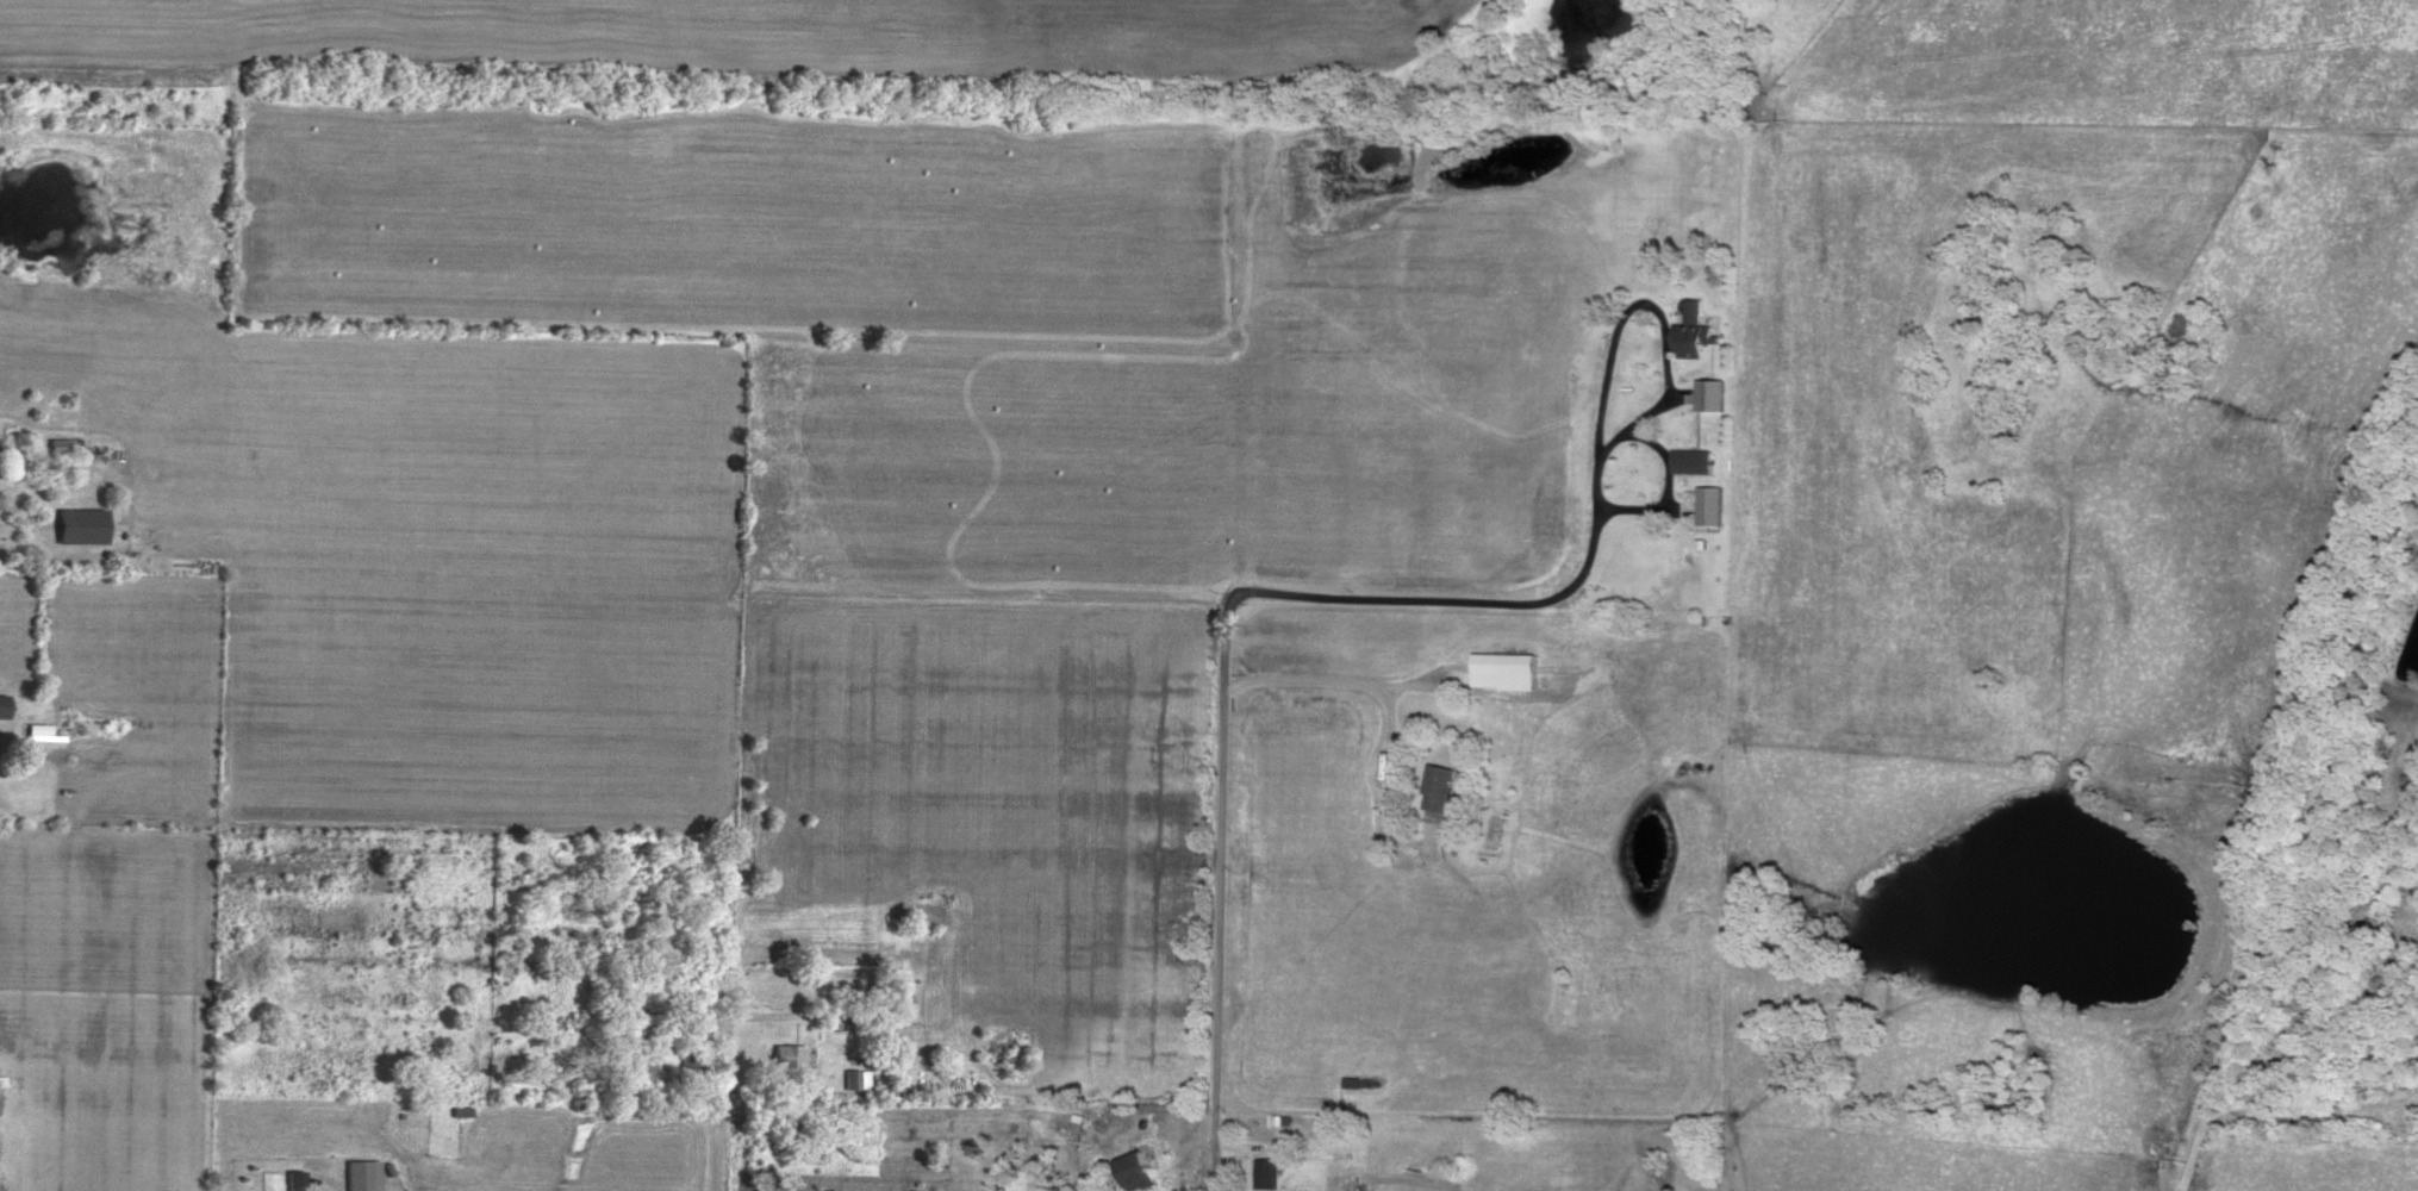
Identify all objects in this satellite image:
road: (1656, 307)
building: (1695, 329)
building: (1714, 393)
building: (62, 443)
building: (1695, 459)
building: (1712, 504)
building: (82, 523)
road: (1224, 655)
building: (1507, 668)
road: (1389, 699)
building: (43, 730)
building: (1445, 785)
railway: (2299, 833)
road: (2300, 840)
building: (789, 1054)
building: (856, 1077)
road: (716, 1095)
road: (2314, 1115)
building: (1140, 1168)
building: (1272, 1172)
building: (363, 1173)
building: (295, 1179)

